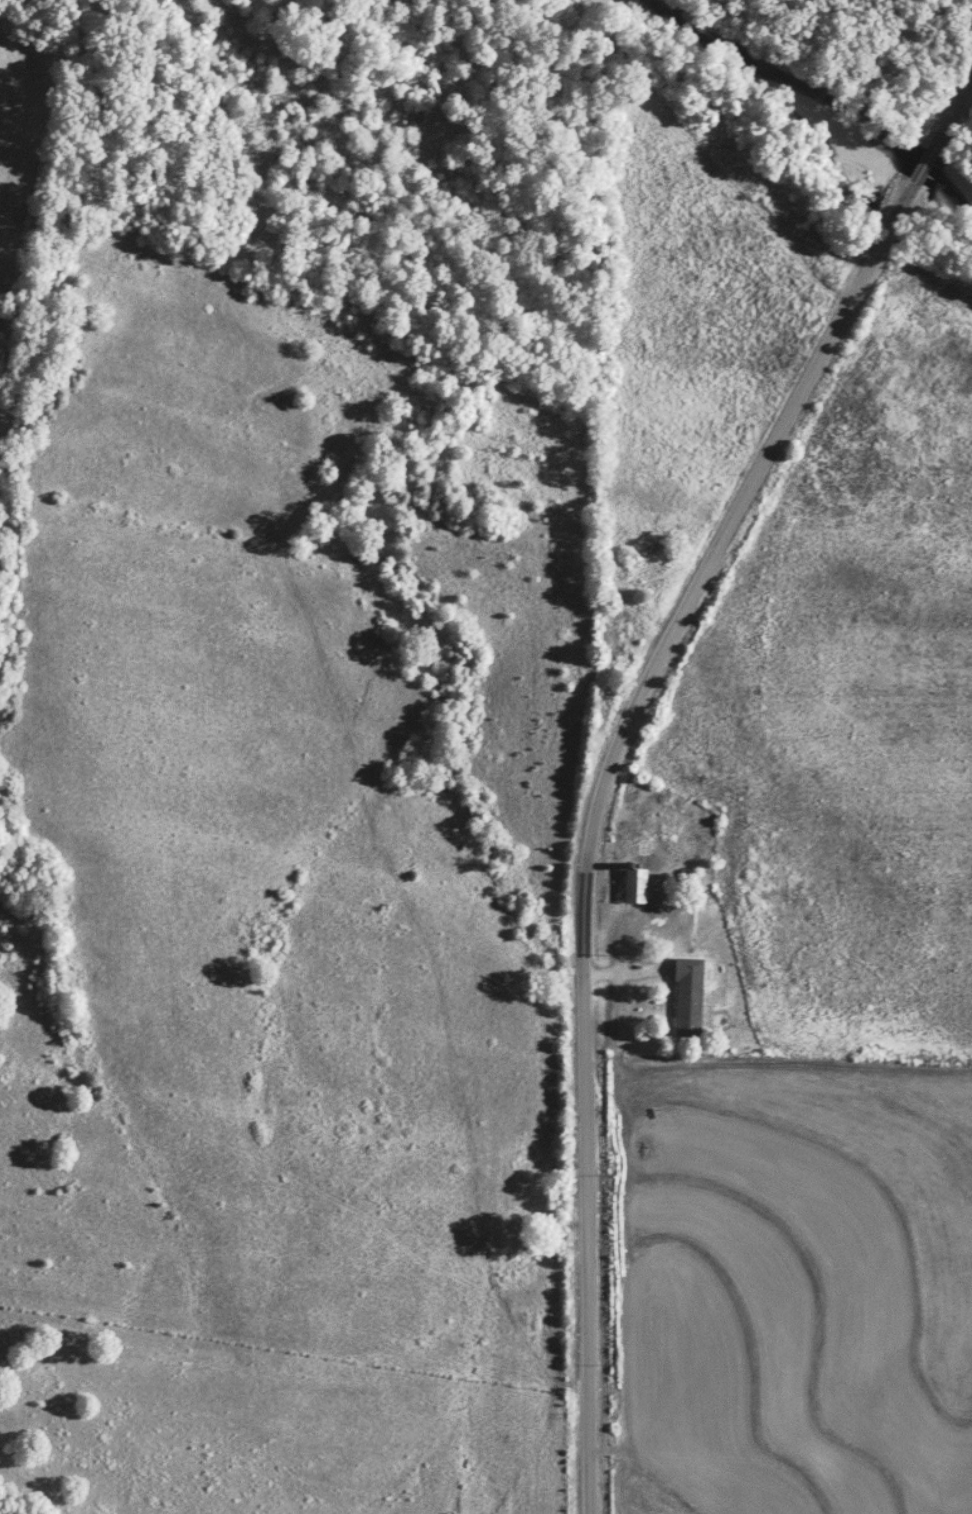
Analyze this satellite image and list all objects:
road: (610, 749)
building: (637, 886)
road: (623, 969)
building: (685, 993)

